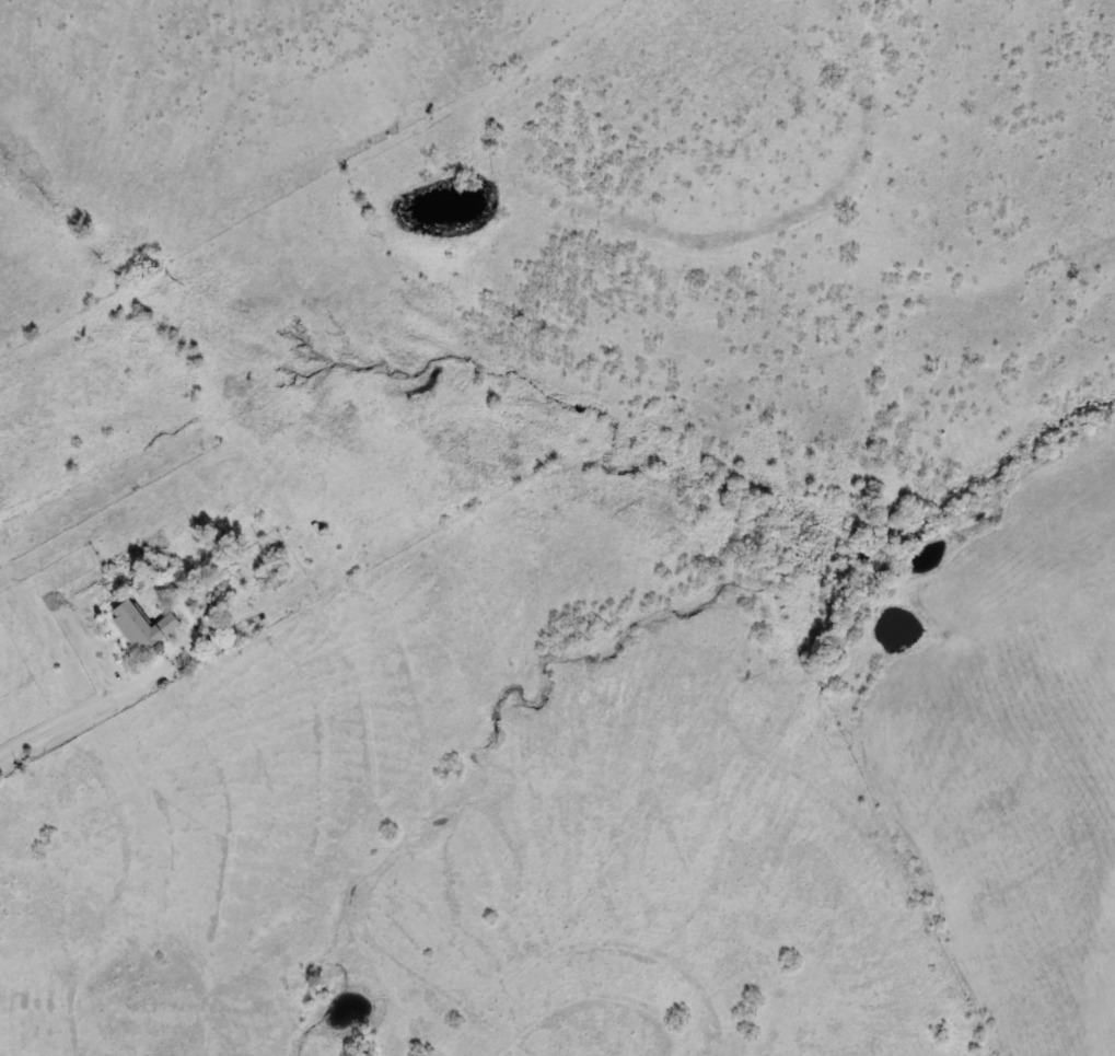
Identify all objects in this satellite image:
building: (138, 627)
road: (102, 695)

